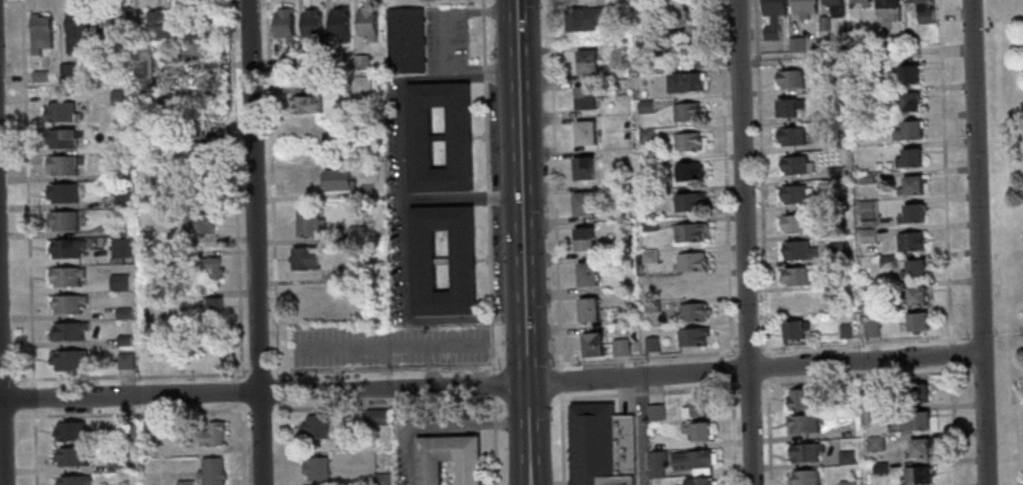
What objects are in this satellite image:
road: (157, 2)
building: (861, 3)
road: (34, 5)
road: (70, 5)
road: (106, 5)
building: (802, 8)
building: (833, 8)
road: (66, 9)
road: (134, 9)
building: (676, 9)
road: (95, 10)
building: (886, 11)
building: (921, 11)
road: (449, 12)
building: (771, 17)
building: (584, 19)
building: (365, 23)
building: (337, 24)
building: (822, 24)
building: (283, 25)
building: (310, 25)
building: (155, 26)
road: (62, 30)
building: (74, 31)
building: (109, 31)
building: (38, 34)
road: (24, 37)
building: (404, 41)
building: (668, 42)
building: (795, 45)
road: (25, 49)
building: (360, 63)
building: (586, 63)
building: (142, 64)
road: (203, 66)
road: (481, 71)
building: (67, 72)
building: (907, 76)
building: (39, 77)
road: (14, 78)
building: (788, 80)
building: (683, 83)
building: (359, 84)
building: (830, 86)
building: (117, 97)
road: (54, 98)
building: (583, 98)
building: (908, 103)
building: (304, 104)
building: (644, 107)
building: (787, 108)
road: (31, 109)
building: (58, 112)
building: (686, 113)
building: (867, 125)
building: (192, 132)
building: (906, 132)
building: (584, 133)
road: (230, 135)
building: (645, 137)
building: (790, 137)
building: (457, 138)
road: (32, 139)
building: (58, 139)
building: (833, 141)
building: (687, 142)
building: (114, 144)
building: (198, 150)
road: (224, 150)
road: (52, 151)
building: (907, 159)
building: (62, 165)
building: (646, 165)
road: (33, 166)
building: (794, 166)
building: (582, 169)
building: (686, 172)
building: (118, 173)
building: (835, 173)
road: (399, 176)
road: (54, 177)
building: (865, 178)
building: (335, 181)
road: (554, 185)
building: (909, 186)
road: (485, 187)
road: (270, 190)
road: (235, 191)
road: (520, 191)
road: (25, 193)
building: (61, 193)
building: (646, 194)
building: (793, 194)
road: (35, 195)
building: (121, 201)
building: (687, 202)
road: (56, 205)
building: (582, 205)
building: (867, 213)
building: (910, 215)
building: (61, 221)
building: (306, 221)
road: (35, 223)
building: (197, 224)
building: (794, 224)
road: (227, 225)
building: (648, 226)
building: (118, 227)
building: (837, 231)
building: (688, 233)
road: (54, 234)
building: (355, 234)
building: (866, 236)
road: (228, 240)
building: (583, 240)
road: (254, 242)
road: (728, 242)
road: (744, 242)
road: (763, 242)
building: (909, 242)
road: (947, 242)
road: (977, 242)
road: (35, 248)
building: (63, 249)
building: (120, 250)
building: (797, 251)
building: (837, 251)
road: (233, 253)
building: (168, 255)
building: (649, 257)
building: (303, 259)
road: (55, 262)
building: (461, 262)
building: (690, 262)
building: (887, 262)
building: (203, 266)
road: (232, 271)
building: (912, 271)
building: (586, 275)
building: (64, 277)
building: (335, 277)
building: (797, 277)
road: (36, 278)
building: (118, 283)
building: (696, 286)
road: (54, 290)
road: (219, 293)
building: (913, 298)
building: (797, 302)
road: (37, 303)
building: (65, 304)
building: (209, 306)
road: (231, 306)
building: (650, 307)
building: (587, 311)
building: (122, 313)
building: (690, 313)
road: (57, 317)
road: (402, 321)
building: (914, 322)
building: (870, 327)
building: (68, 331)
building: (793, 331)
building: (843, 331)
road: (38, 334)
building: (691, 338)
building: (122, 341)
road: (57, 344)
building: (650, 345)
building: (591, 346)
parking lot: (388, 347)
road: (388, 347)
building: (619, 348)
road: (648, 356)
building: (71, 361)
building: (125, 361)
road: (430, 367)
road: (379, 370)
road: (257, 374)
road: (123, 377)
road: (558, 382)
road: (125, 383)
road: (491, 384)
road: (490, 386)
road: (275, 390)
road: (645, 391)
building: (870, 391)
road: (240, 392)
building: (917, 392)
building: (846, 393)
road: (31, 397)
building: (802, 400)
road: (380, 405)
road: (258, 409)
building: (695, 409)
road: (128, 412)
building: (654, 413)
building: (875, 414)
road: (5, 416)
building: (374, 417)
building: (914, 422)
building: (801, 424)
road: (437, 425)
building: (149, 426)
building: (314, 427)
building: (127, 429)
building: (69, 431)
road: (1, 432)
building: (696, 432)
building: (211, 434)
road: (527, 434)
road: (559, 438)
road: (493, 440)
road: (276, 443)
road: (241, 444)
building: (874, 444)
road: (32, 446)
building: (600, 446)
building: (918, 450)
building: (803, 453)
building: (72, 456)
building: (448, 458)
building: (845, 458)
building: (691, 461)
building: (114, 464)
building: (655, 464)
building: (879, 468)
building: (314, 469)
building: (210, 471)
building: (915, 476)
building: (804, 478)
building: (379, 479)
building: (73, 480)
building: (183, 482)
building: (697, 482)
building: (845, 483)

